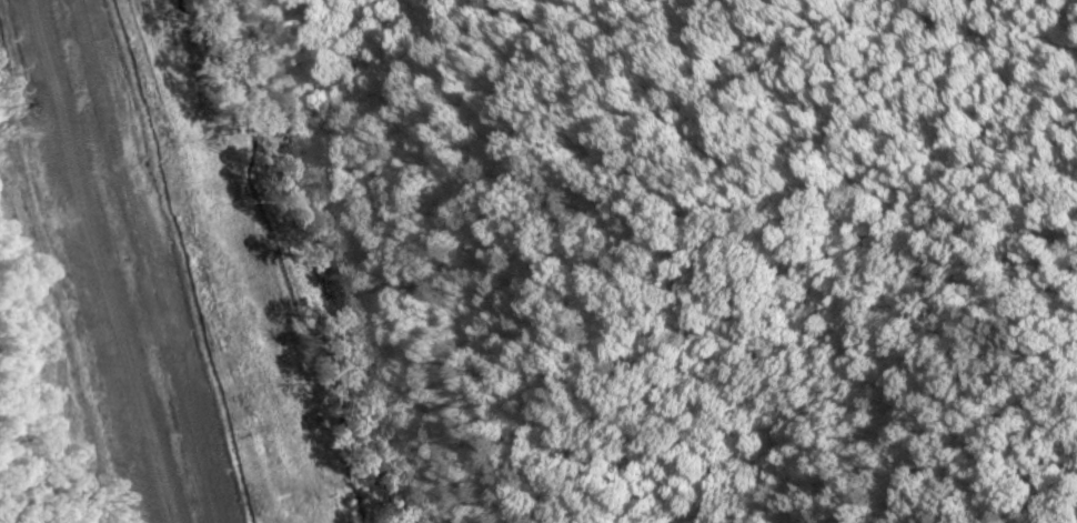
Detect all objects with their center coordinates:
road: (94, 261)
road: (153, 261)

